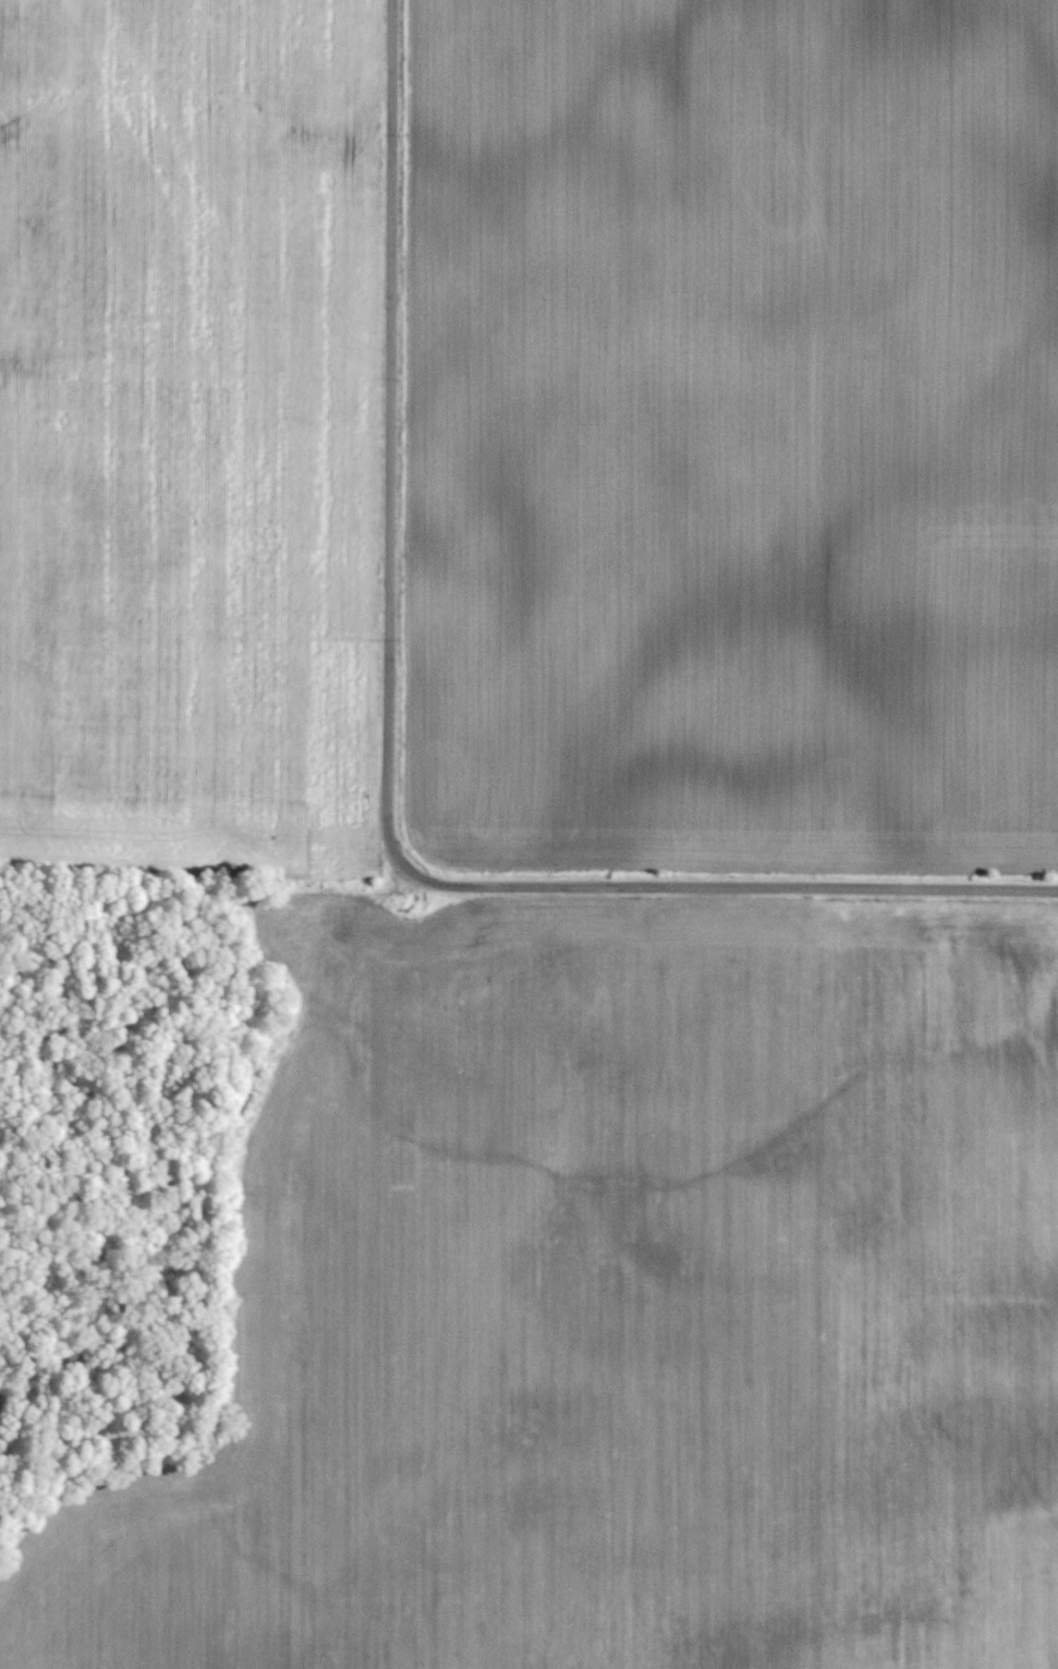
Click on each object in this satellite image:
road: (386, 370)
road: (661, 888)

